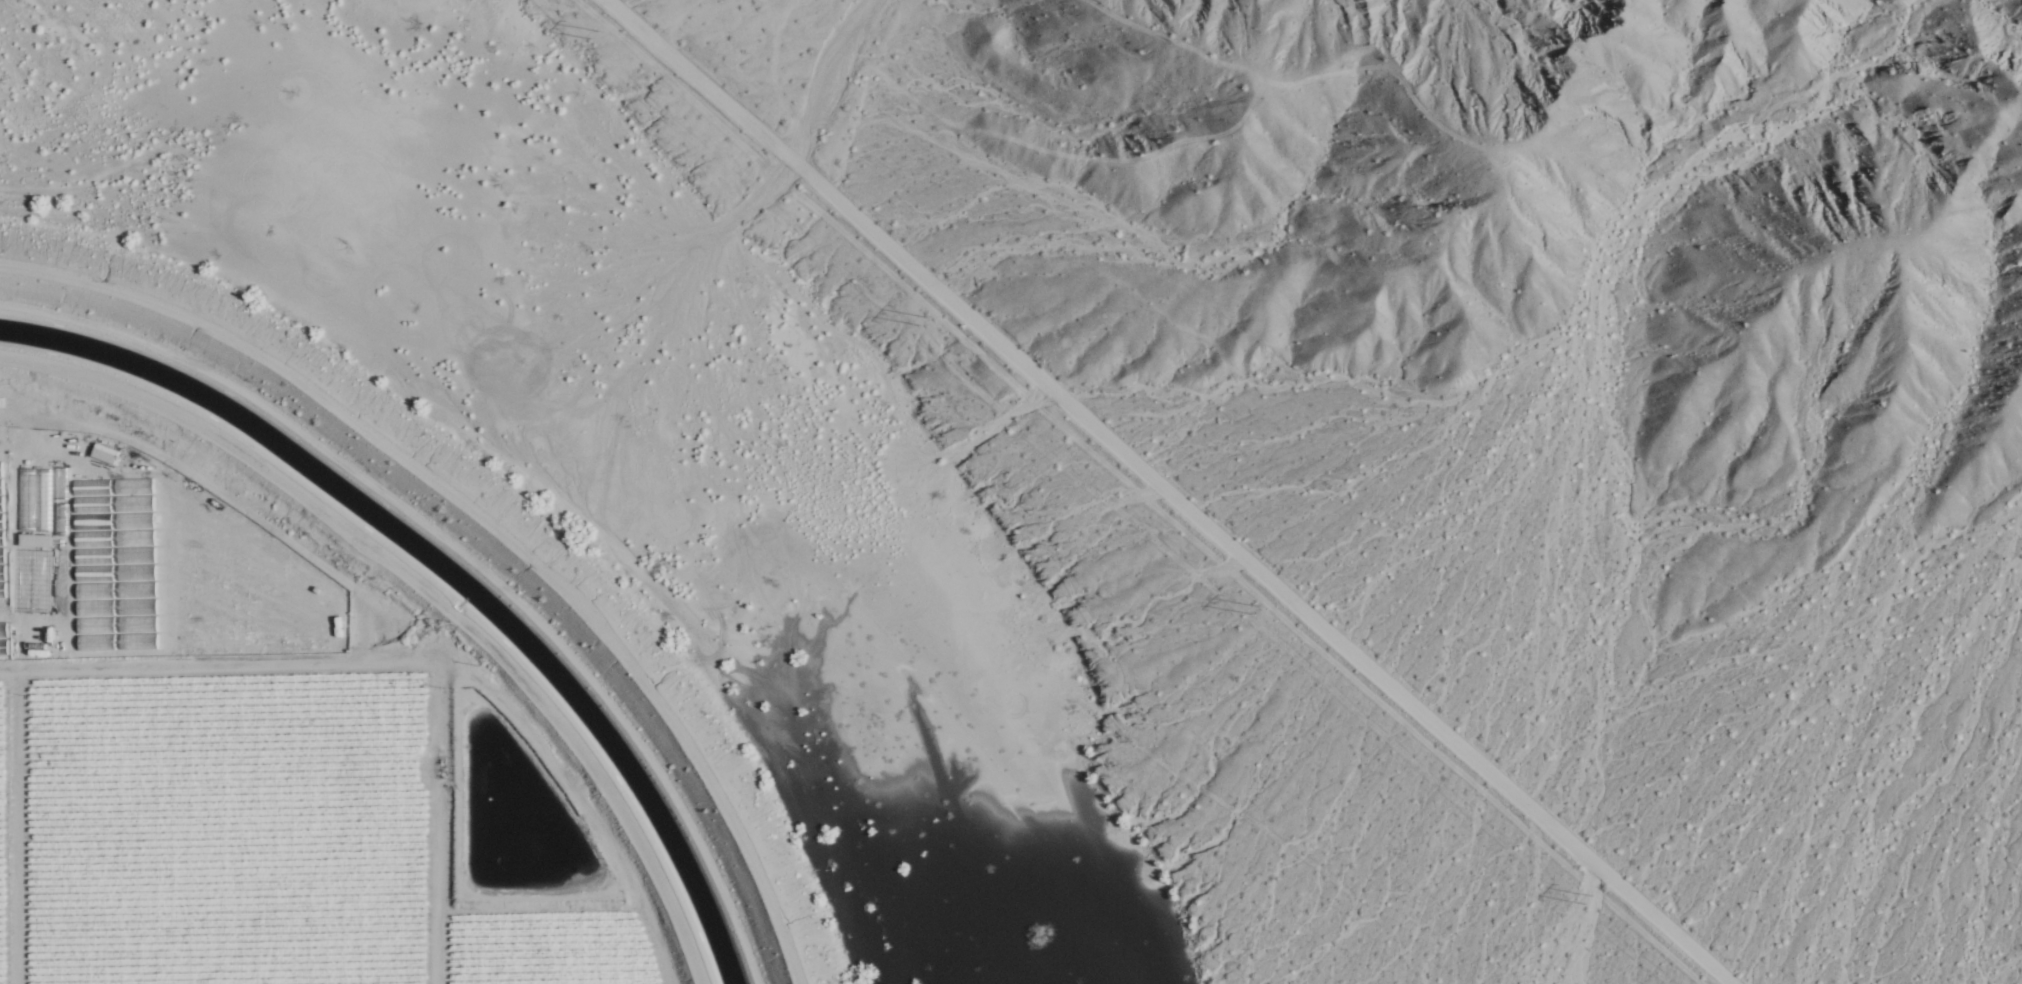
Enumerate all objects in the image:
power tower: (594, 38)
power tower: (923, 319)
road: (1179, 491)
road: (427, 587)
power tower: (1254, 612)
power tower: (1590, 902)

